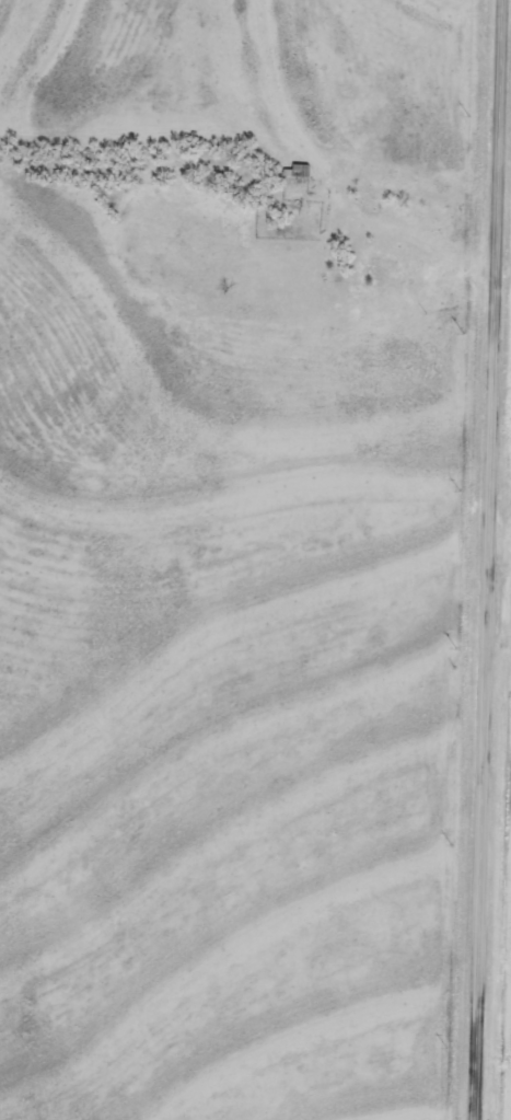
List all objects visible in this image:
road: (502, 526)
road: (491, 559)

